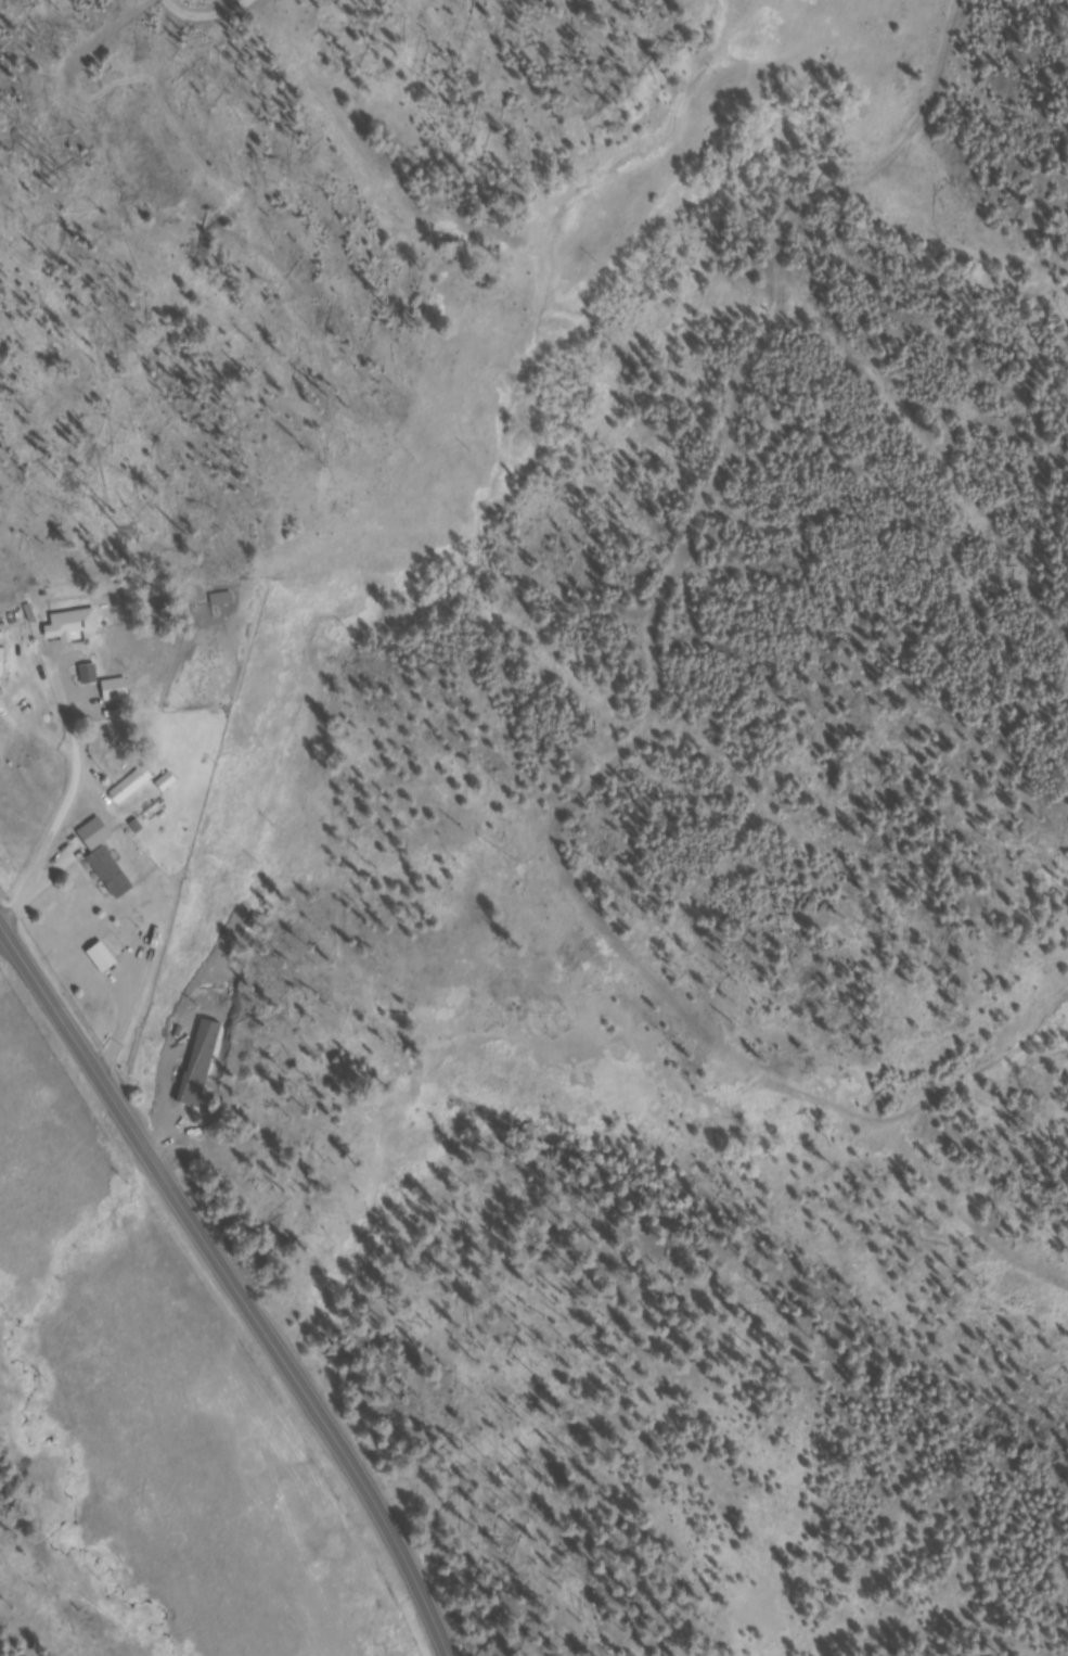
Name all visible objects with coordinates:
building: (224, 603)
building: (76, 628)
building: (4, 666)
building: (118, 689)
building: (170, 786)
building: (134, 789)
building: (108, 861)
building: (196, 1086)
road: (234, 1284)

